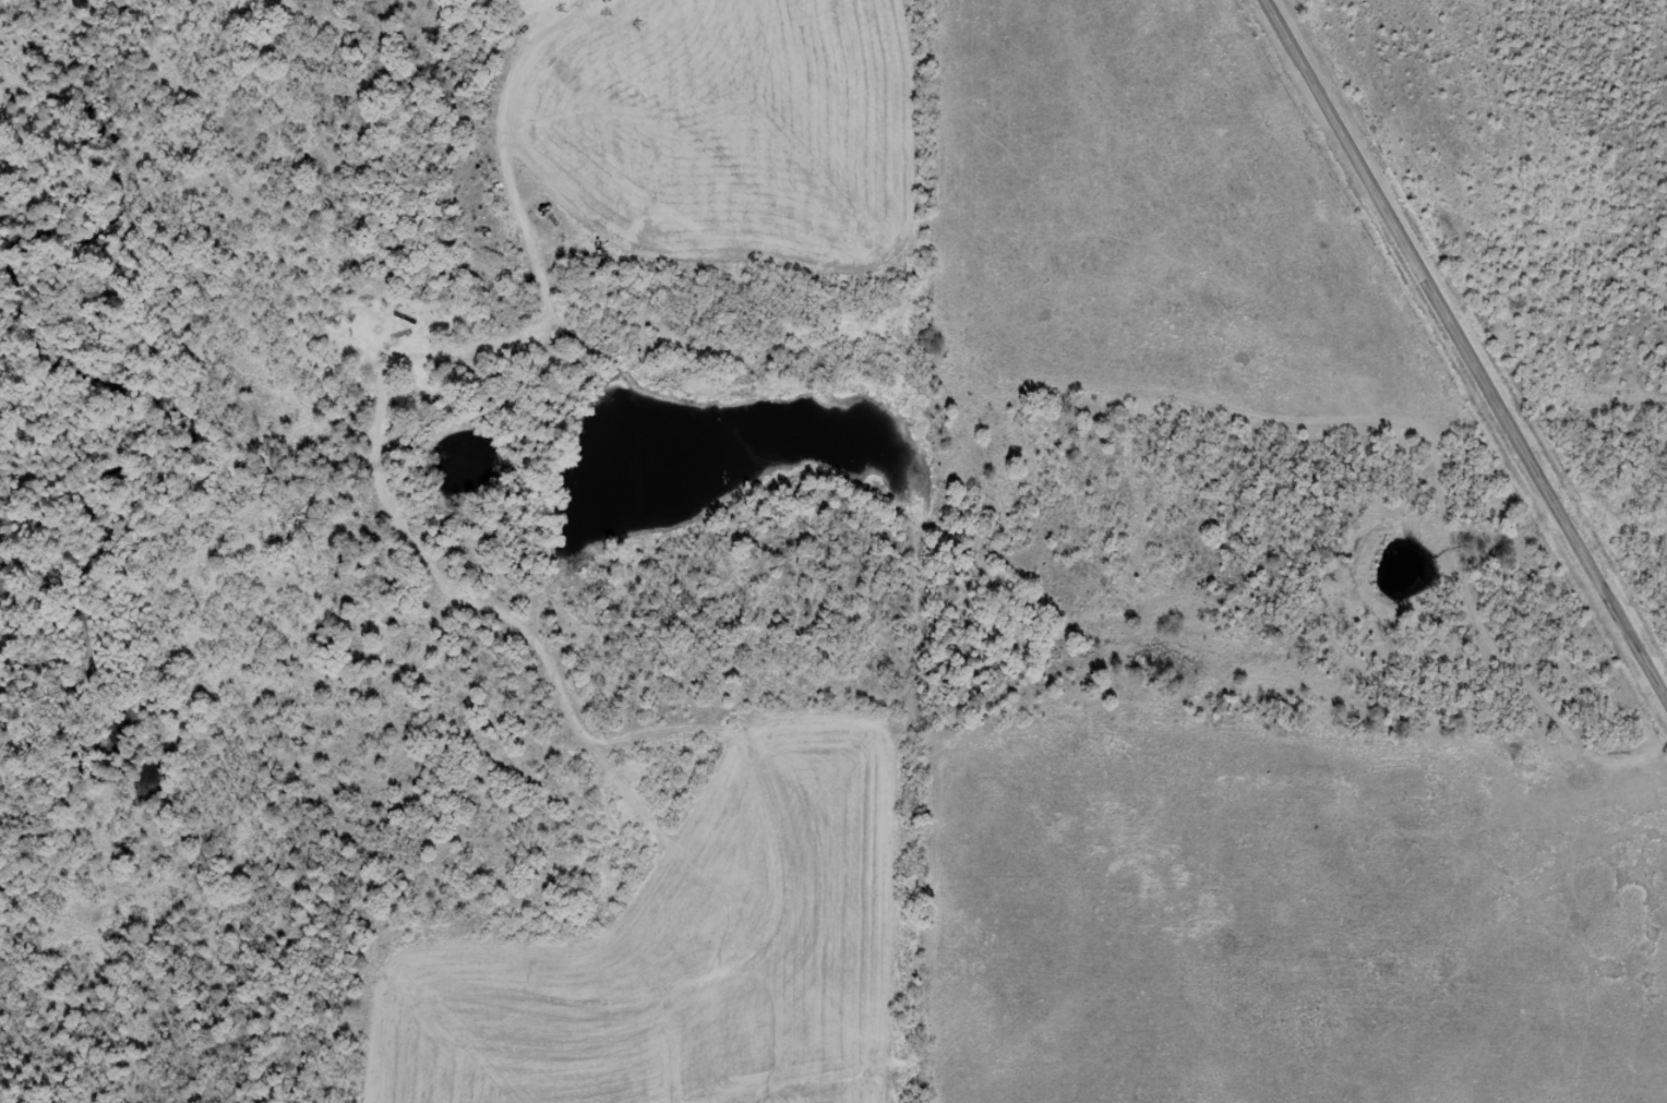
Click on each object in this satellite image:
road: (1467, 347)

